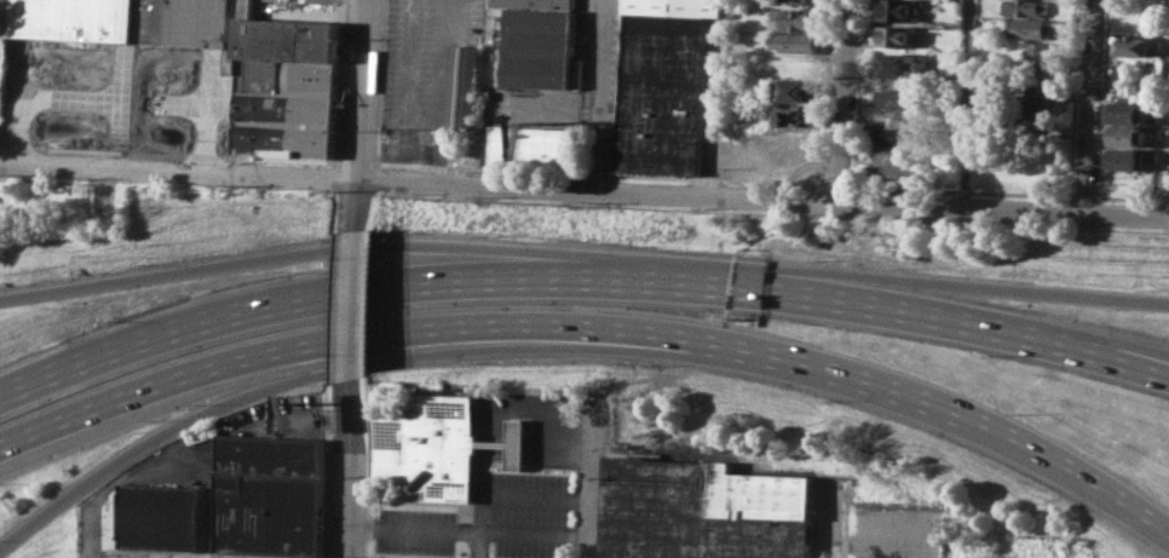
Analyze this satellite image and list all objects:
building: (814, 0)
building: (1027, 6)
building: (902, 8)
building: (122, 19)
building: (797, 19)
building: (1031, 27)
building: (900, 35)
building: (801, 41)
building: (541, 42)
building: (1134, 45)
building: (1040, 57)
building: (899, 64)
building: (955, 70)
building: (580, 73)
building: (287, 85)
building: (667, 85)
building: (470, 87)
building: (799, 90)
road: (605, 94)
building: (1040, 97)
building: (900, 98)
road: (847, 100)
road: (968, 103)
road: (1090, 105)
road: (496, 111)
building: (1128, 113)
building: (800, 114)
road: (108, 115)
road: (364, 115)
building: (904, 117)
building: (902, 136)
building: (1127, 136)
building: (537, 144)
building: (793, 151)
building: (900, 153)
building: (1131, 157)
building: (902, 173)
road: (584, 189)
road: (250, 259)
road: (639, 271)
road: (973, 286)
road: (356, 304)
road: (244, 307)
road: (973, 328)
road: (597, 329)
road: (242, 396)
building: (512, 443)
building: (432, 447)
road: (490, 455)
road: (149, 465)
road: (349, 467)
road: (597, 481)
building: (272, 495)
road: (537, 499)
building: (704, 511)
building: (159, 517)
parking lot: (488, 522)
road: (834, 525)
road: (470, 530)
road: (93, 531)
road: (1078, 554)

